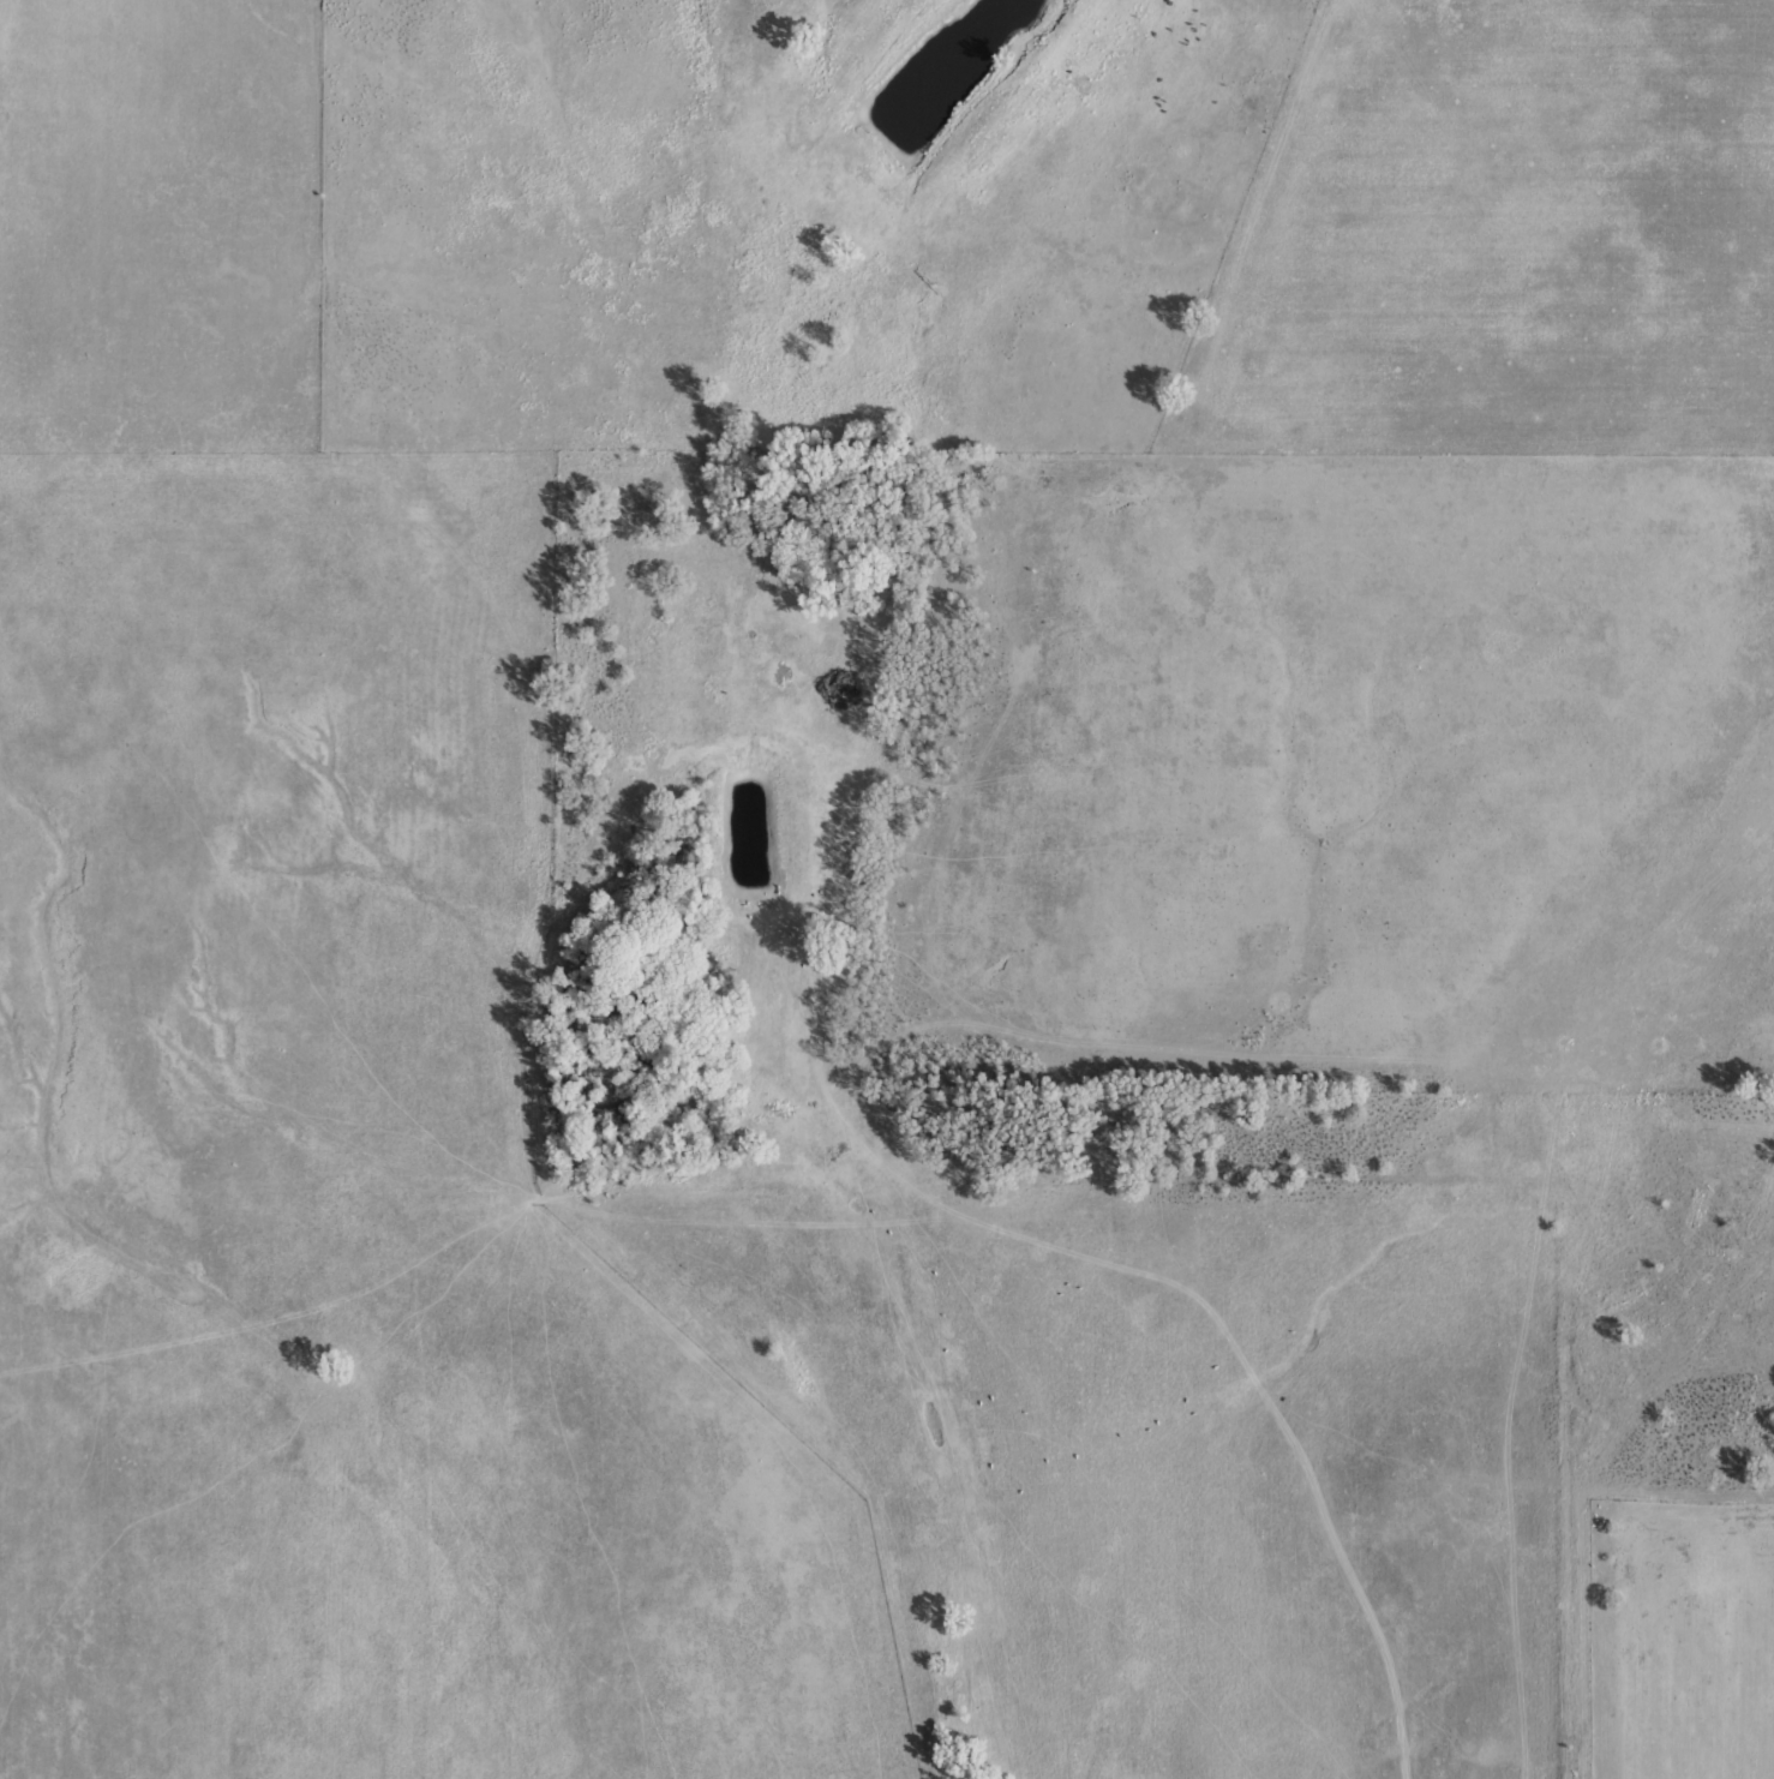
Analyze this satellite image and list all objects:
crop: (887, 889)

